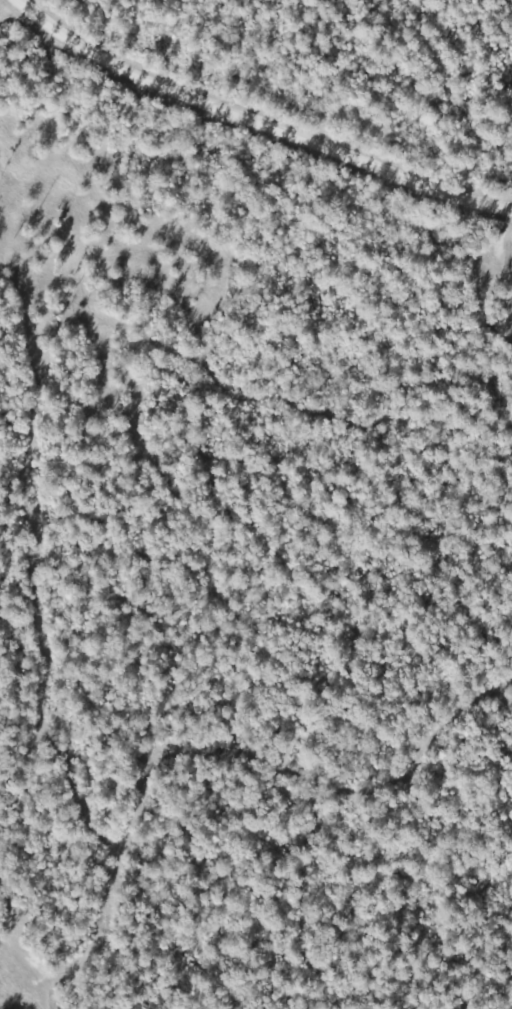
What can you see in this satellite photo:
road: (257, 115)

